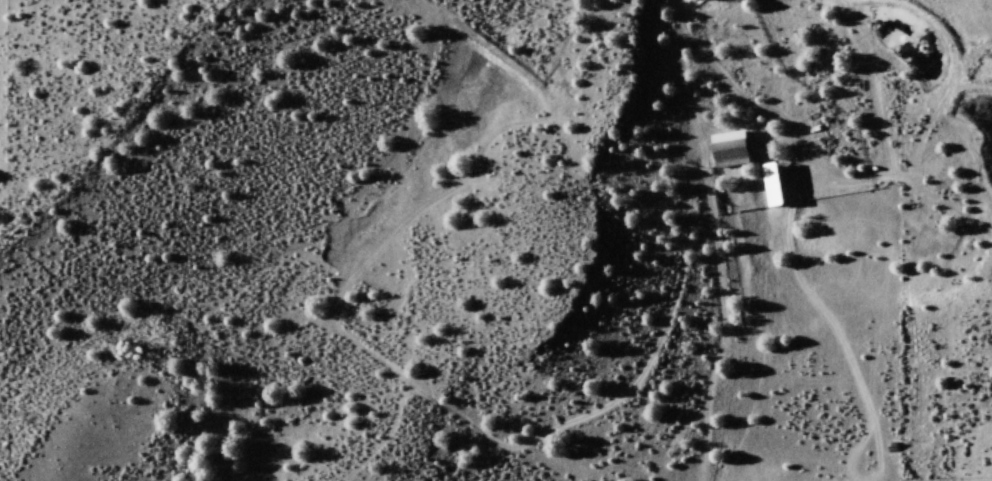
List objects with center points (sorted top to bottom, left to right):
building: (728, 150)
building: (770, 185)

